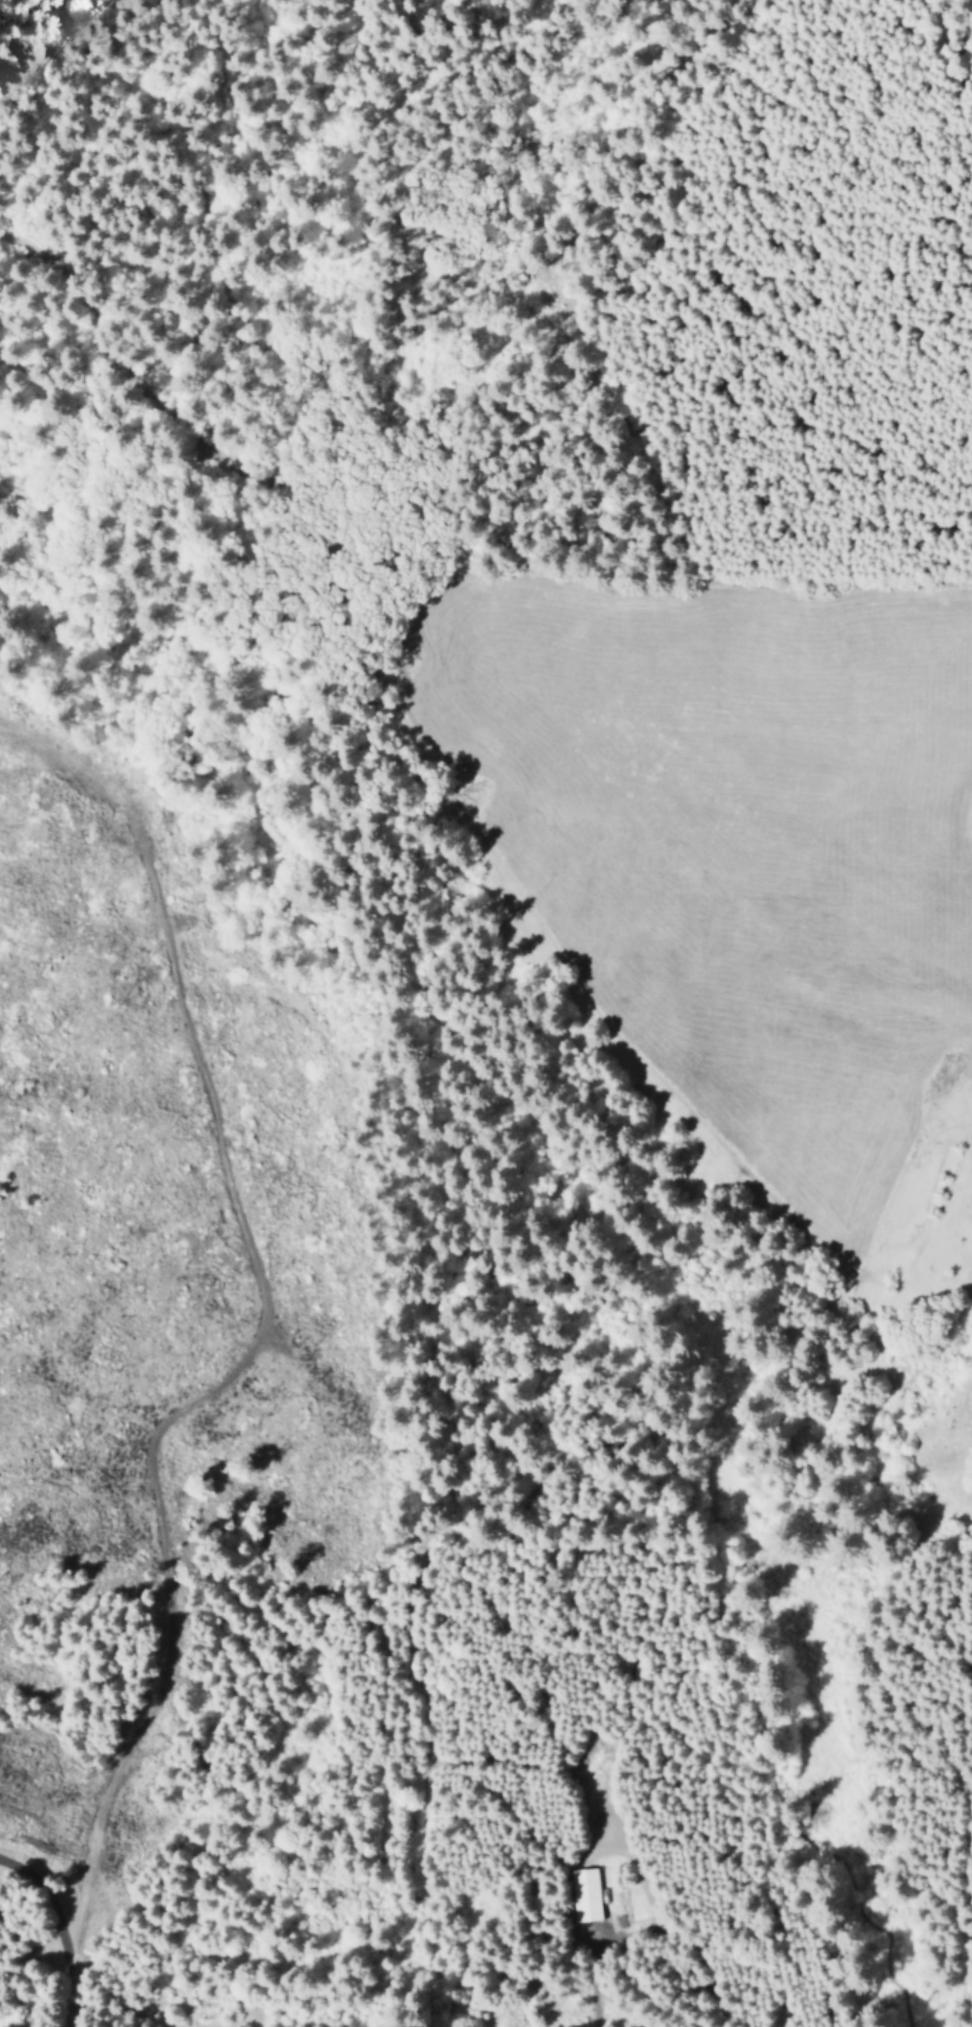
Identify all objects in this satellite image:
building: (585, 1894)
road: (70, 2011)

